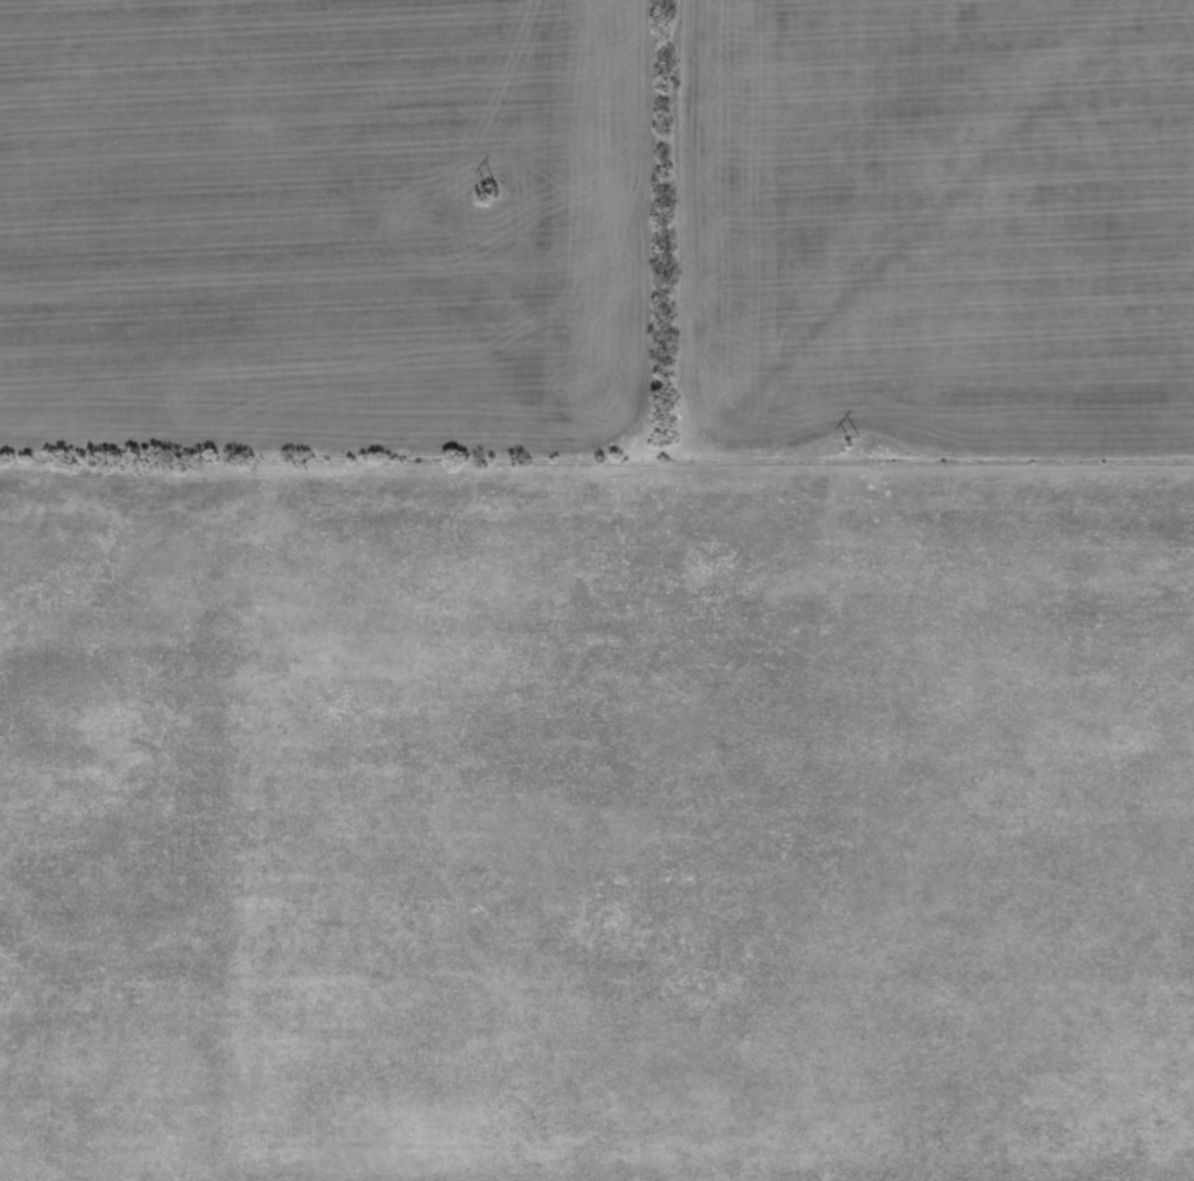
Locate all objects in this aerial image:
power tower: (486, 192)
power tower: (847, 444)

